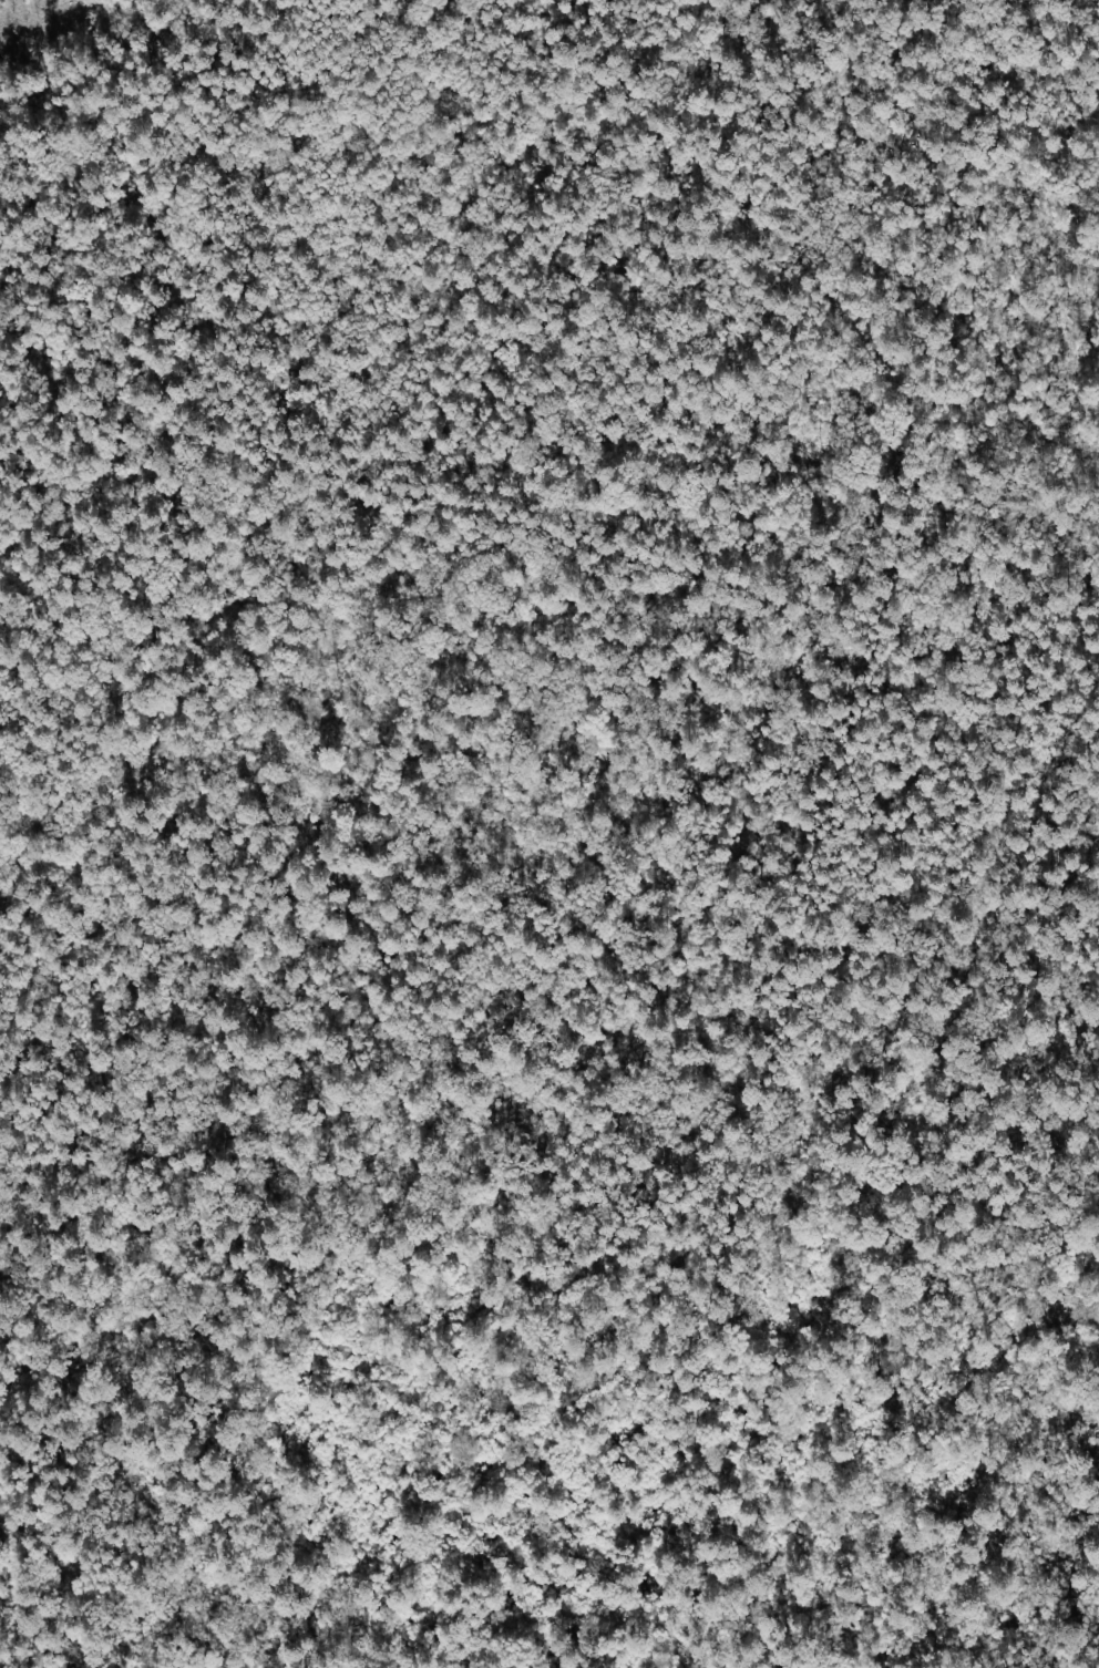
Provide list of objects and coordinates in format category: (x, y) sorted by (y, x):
road: (742, 575)

